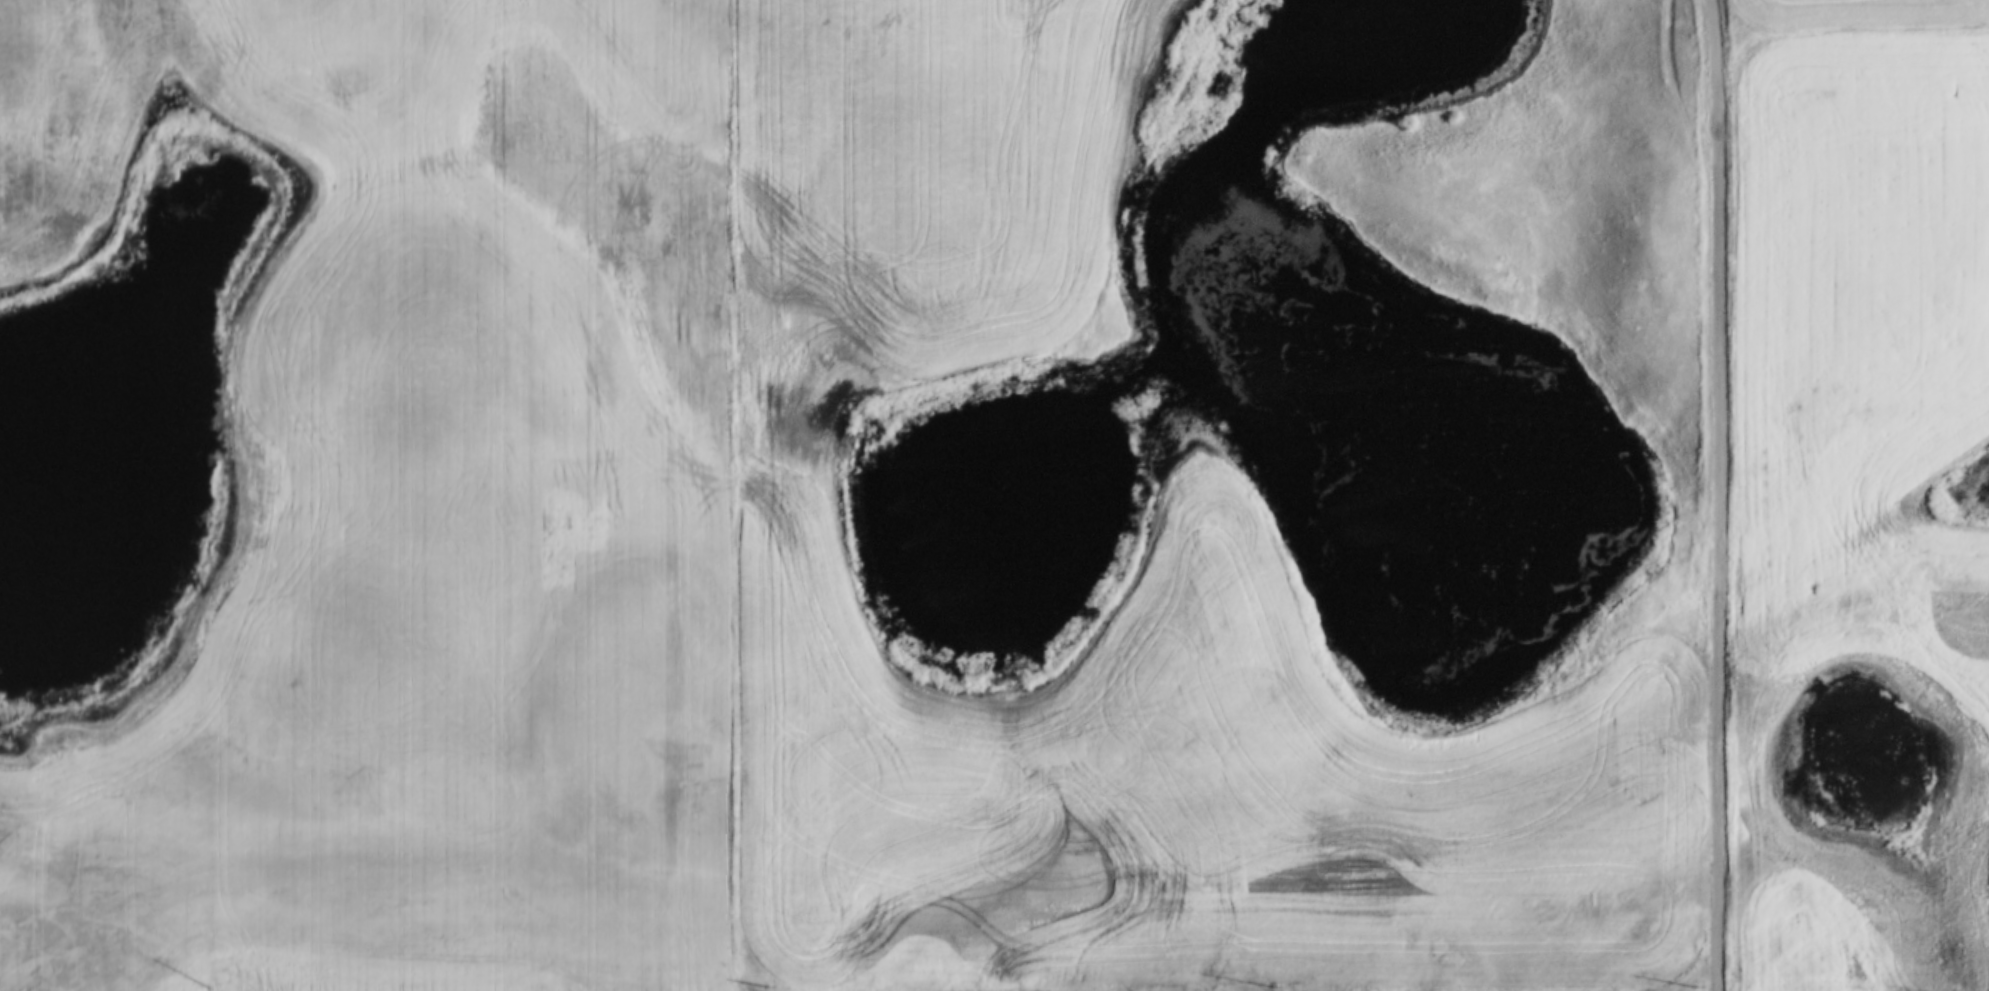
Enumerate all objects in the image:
road: (1716, 496)

